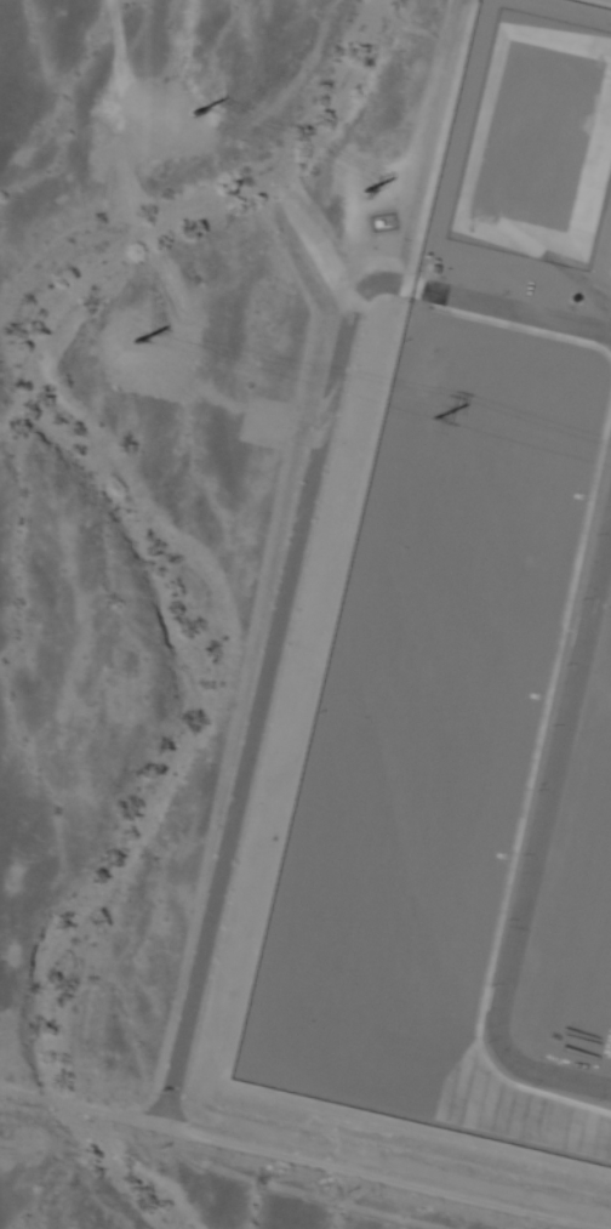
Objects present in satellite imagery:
power substation: (470, 652)
road: (298, 1159)

